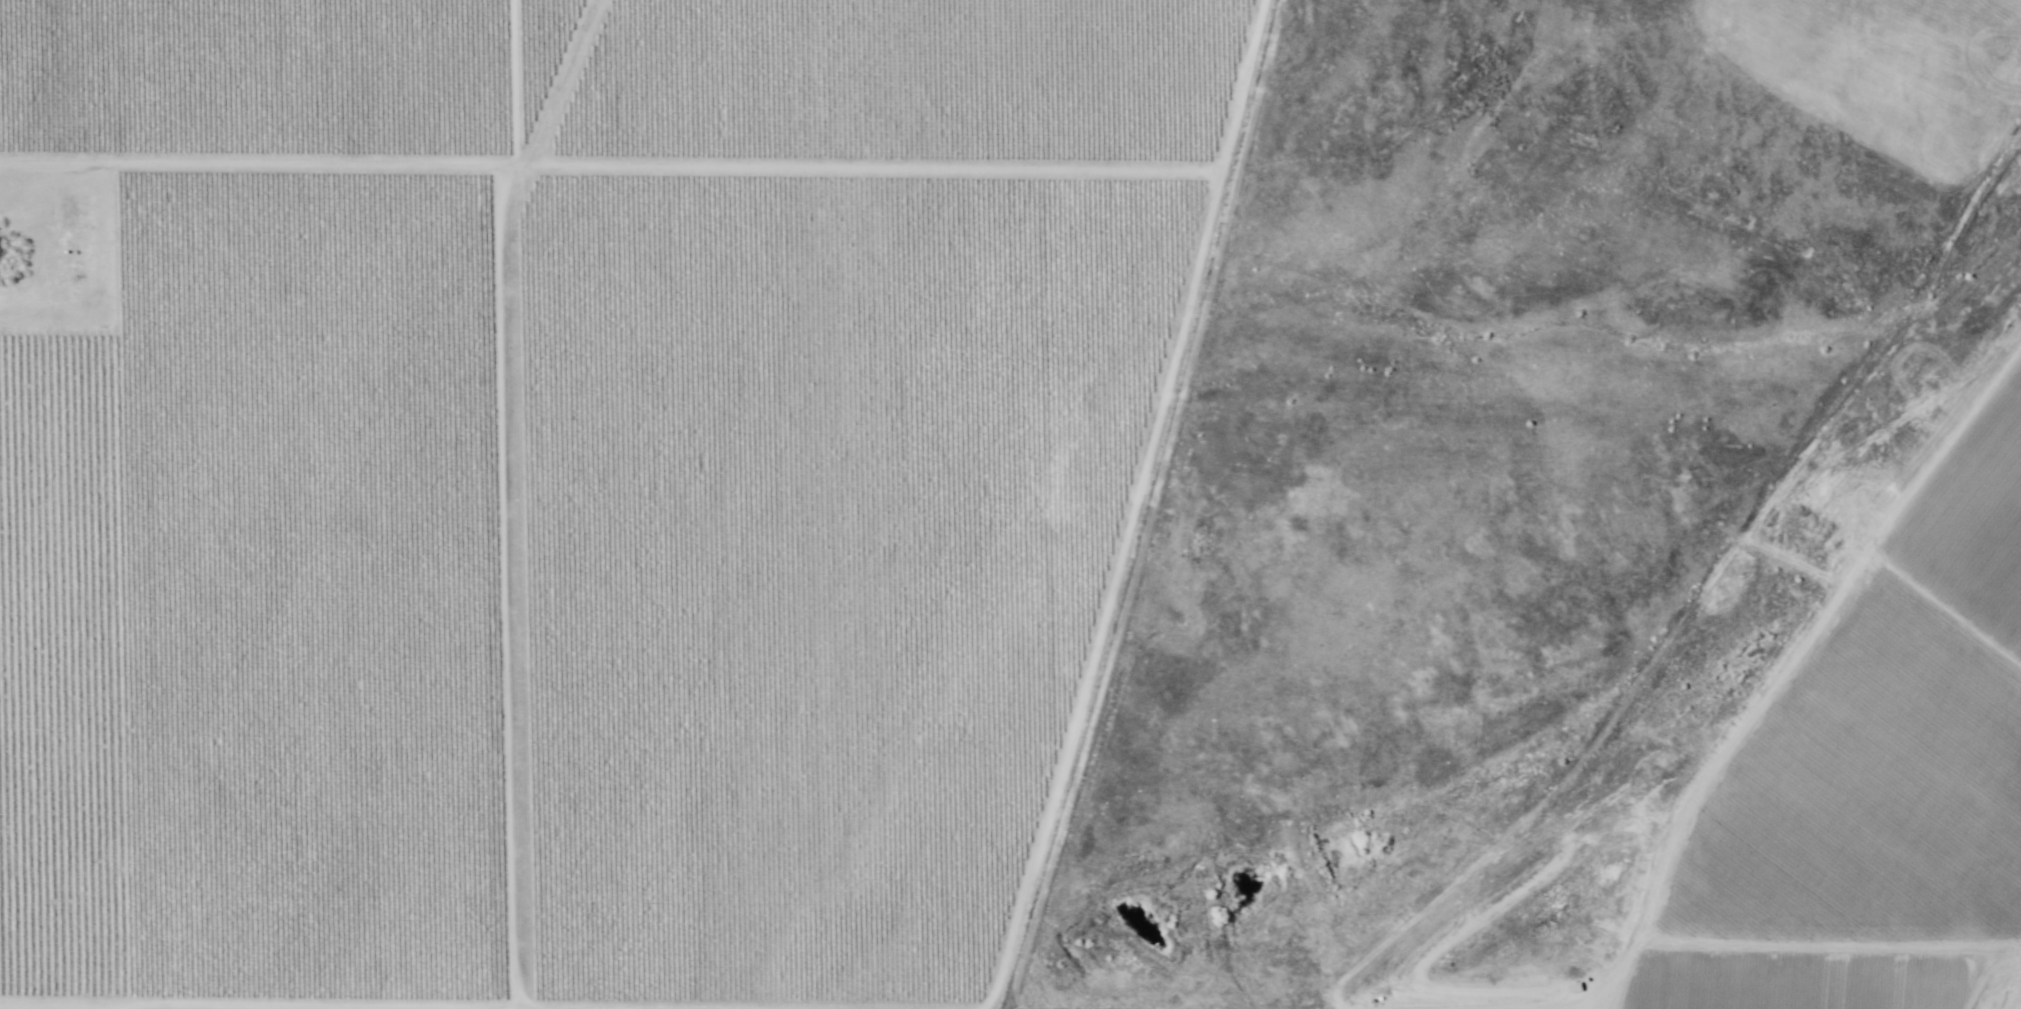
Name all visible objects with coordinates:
road: (305, 163)
wastewater plant: (49, 262)
crop: (572, 485)
crop: (1865, 774)
building: (1574, 988)

